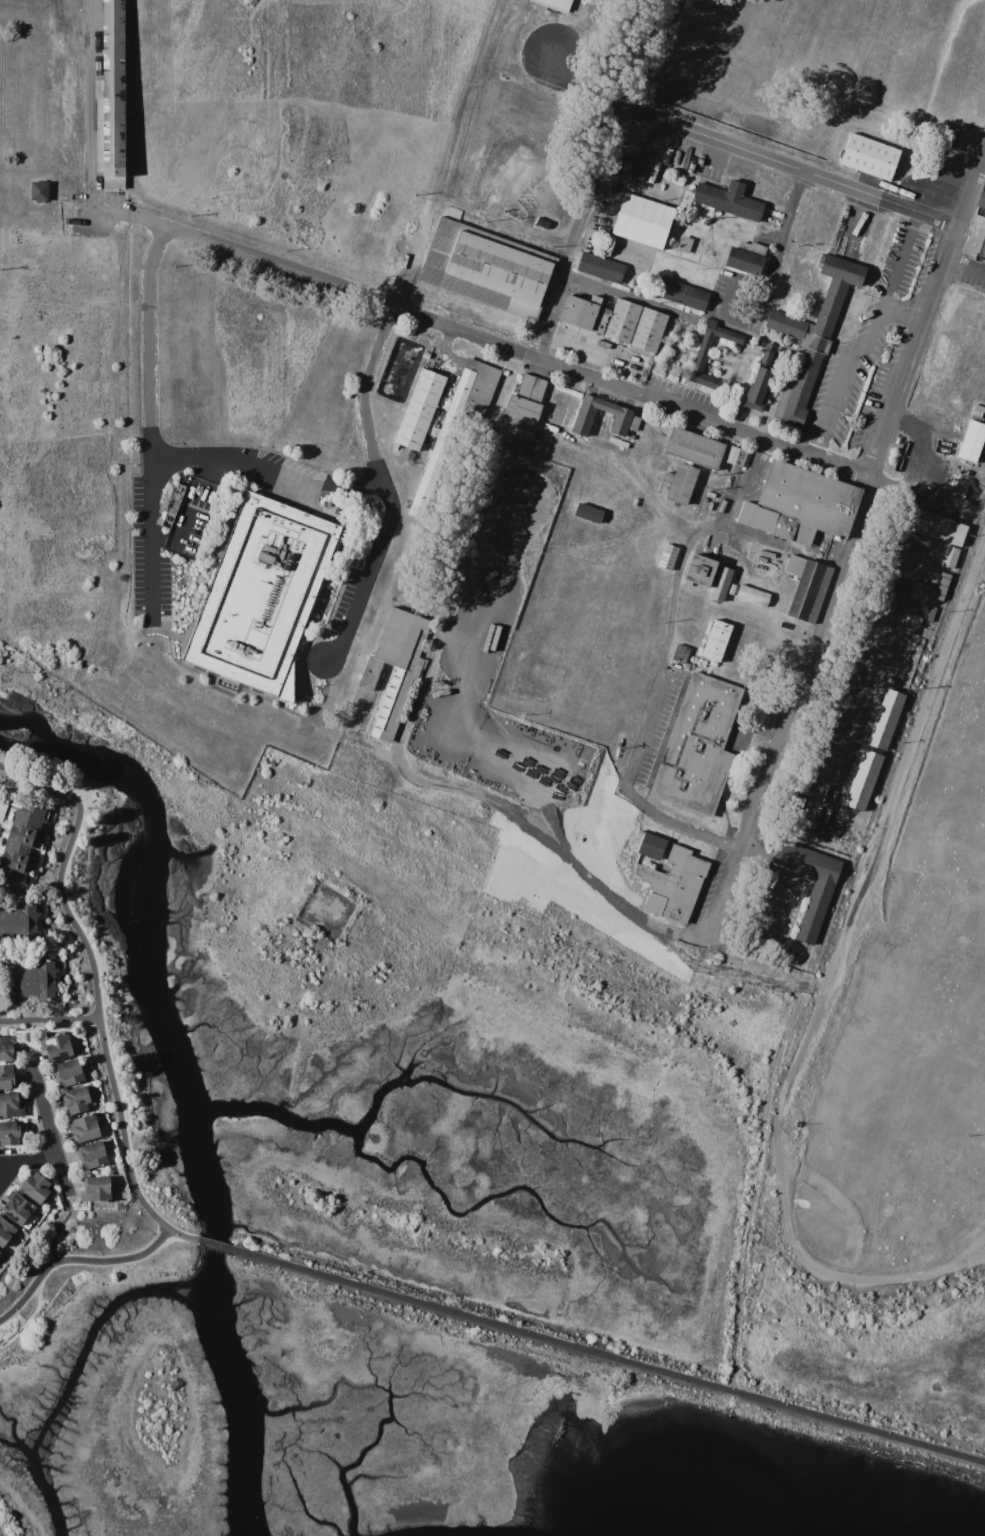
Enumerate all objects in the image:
building: (543, 43)
building: (110, 98)
road: (89, 99)
building: (634, 147)
building: (630, 153)
building: (666, 156)
building: (868, 157)
road: (767, 159)
building: (622, 168)
building: (641, 169)
building: (653, 172)
road: (598, 174)
building: (37, 191)
building: (729, 200)
building: (641, 221)
building: (977, 232)
building: (744, 257)
road: (770, 266)
building: (600, 267)
building: (486, 269)
road: (967, 270)
building: (678, 294)
road: (660, 307)
road: (905, 310)
building: (615, 321)
building: (811, 337)
road: (480, 338)
road: (867, 340)
building: (425, 355)
building: (696, 360)
building: (761, 375)
building: (524, 405)
building: (420, 409)
road: (150, 421)
building: (625, 422)
building: (456, 423)
building: (551, 429)
building: (970, 441)
building: (618, 444)
building: (692, 449)
building: (735, 457)
road: (375, 466)
road: (266, 475)
building: (663, 484)
building: (678, 485)
building: (710, 494)
building: (705, 500)
building: (800, 505)
building: (173, 506)
building: (709, 507)
building: (588, 513)
building: (937, 527)
road: (848, 545)
building: (767, 551)
building: (668, 556)
building: (949, 557)
building: (761, 560)
building: (794, 564)
building: (700, 571)
building: (720, 584)
building: (941, 585)
building: (809, 591)
building: (752, 595)
building: (262, 598)
building: (928, 613)
building: (911, 620)
road: (443, 632)
building: (716, 640)
building: (680, 653)
building: (395, 666)
road: (660, 670)
building: (890, 681)
building: (885, 719)
building: (697, 746)
building: (835, 748)
building: (863, 779)
road: (97, 792)
road: (892, 796)
road: (547, 834)
building: (647, 845)
building: (22, 848)
building: (673, 885)
road: (775, 904)
building: (815, 909)
building: (21, 924)
road: (96, 977)
building: (30, 980)
road: (51, 1020)
park: (98, 1035)
building: (7, 1047)
building: (56, 1047)
building: (68, 1073)
building: (7, 1077)
building: (76, 1100)
building: (10, 1105)
building: (83, 1129)
road: (51, 1133)
building: (10, 1134)
building: (107, 1151)
building: (92, 1155)
road: (32, 1158)
road: (4, 1164)
road: (4, 1174)
building: (36, 1187)
building: (96, 1189)
building: (18, 1210)
road: (60, 1229)
building: (5, 1231)
road: (181, 1237)
road: (215, 1247)
building: (0, 1251)
road: (793, 1252)
road: (78, 1262)
road: (77, 1279)
road: (26, 1320)
road: (610, 1360)
park: (572, 1363)
park: (9, 1522)

